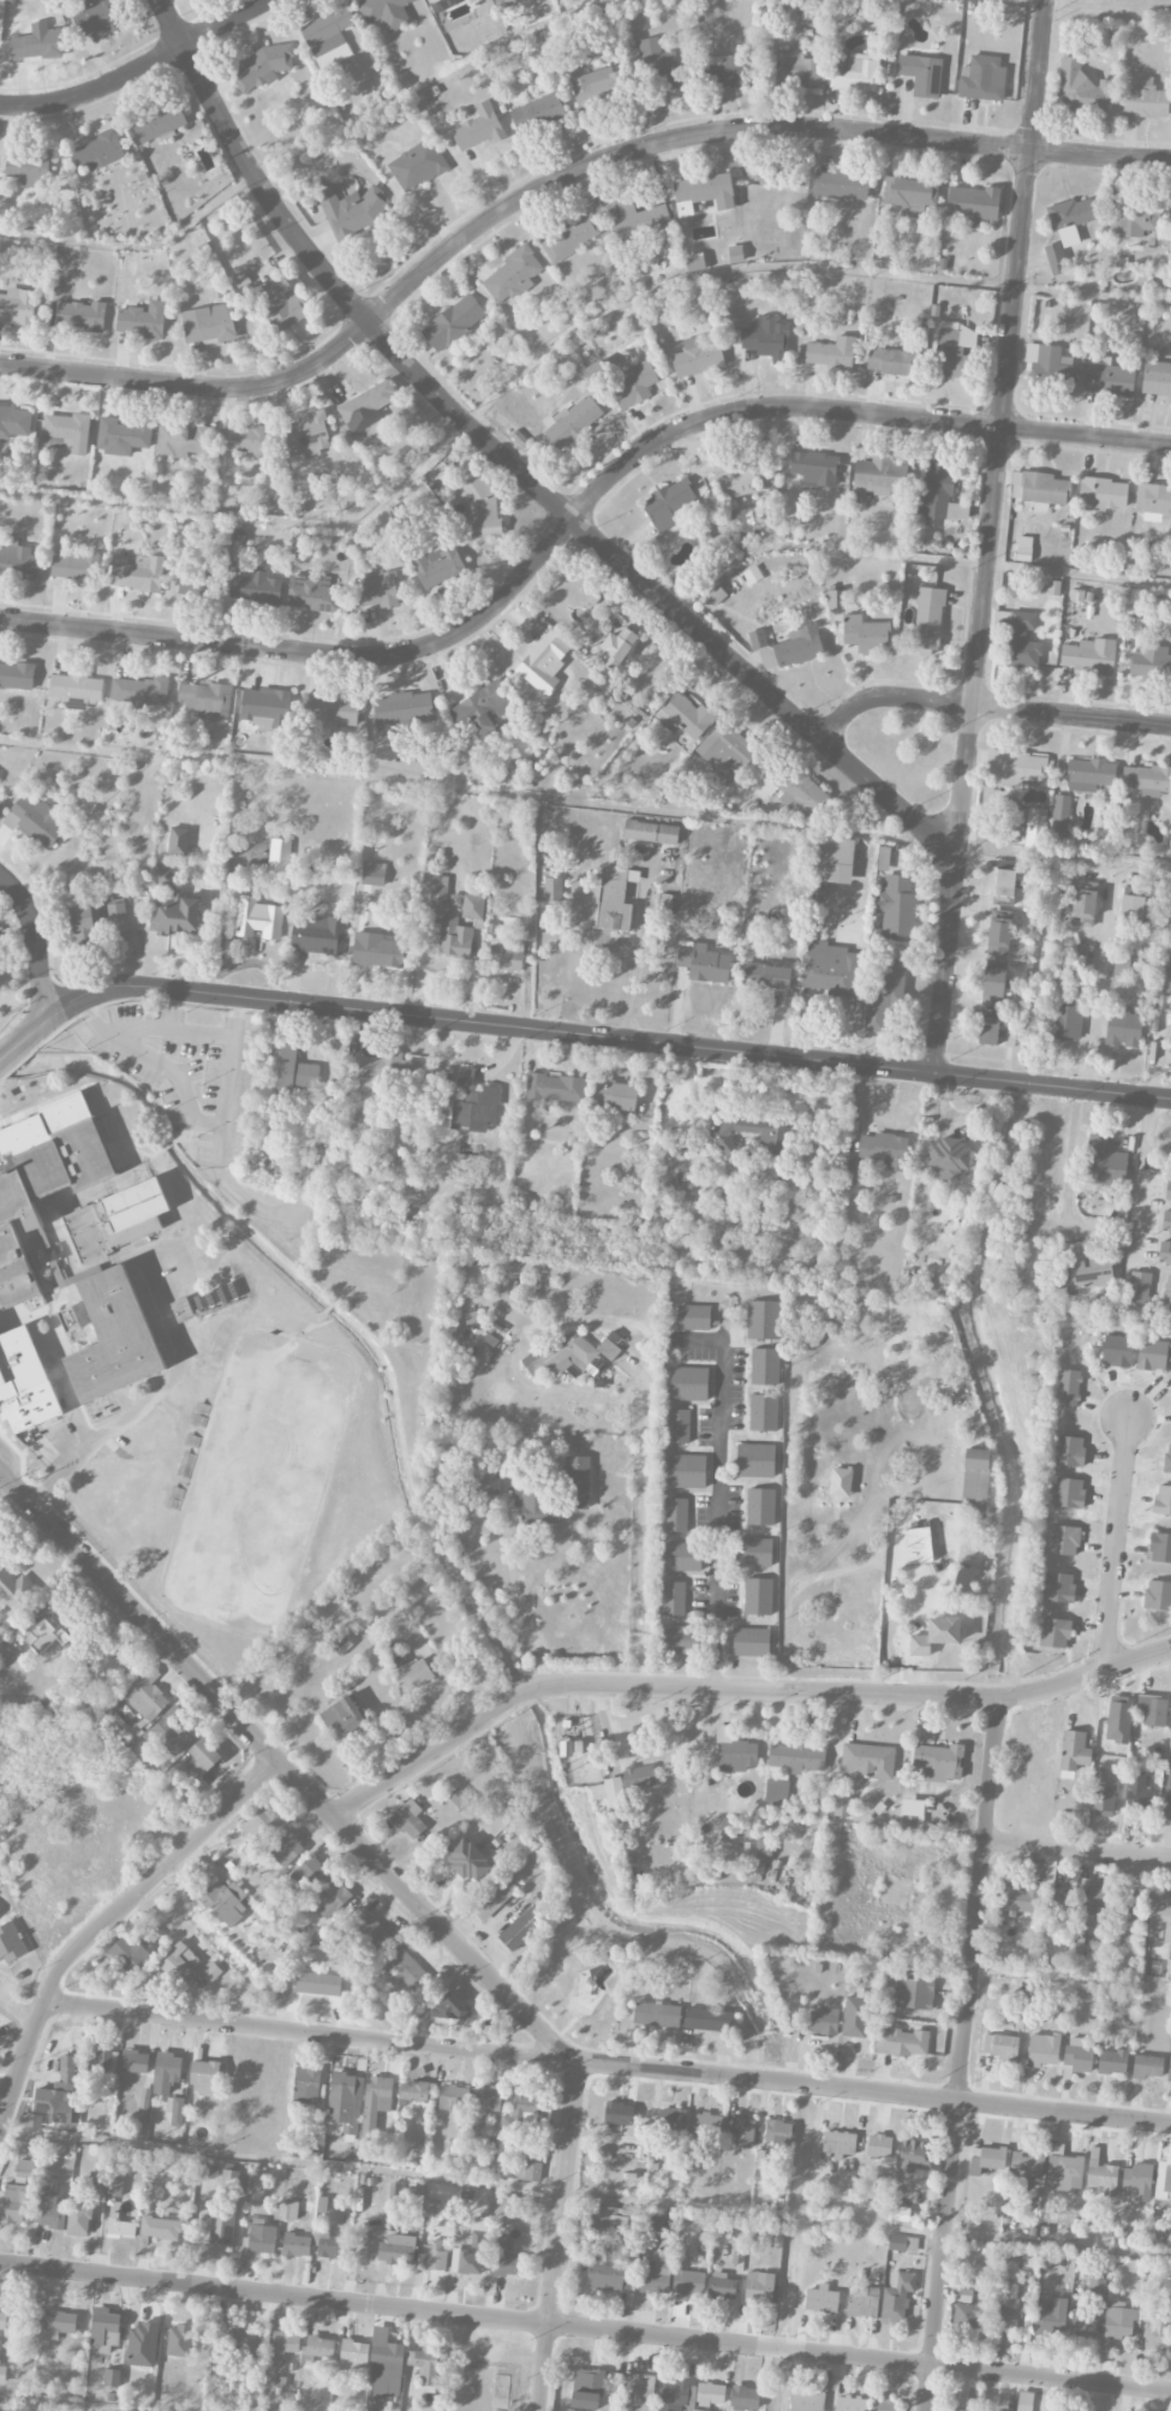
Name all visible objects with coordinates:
road: (1038, 0)
building: (432, 1)
building: (503, 4)
building: (386, 12)
building: (96, 17)
road: (1107, 19)
building: (327, 29)
building: (35, 44)
building: (333, 56)
building: (261, 66)
building: (659, 66)
building: (796, 69)
road: (142, 71)
building: (728, 71)
building: (854, 71)
building: (921, 75)
building: (984, 78)
building: (593, 85)
building: (1080, 88)
building: (1143, 99)
building: (537, 113)
building: (159, 123)
building: (478, 127)
road: (310, 143)
building: (97, 153)
building: (417, 165)
building: (28, 168)
road: (555, 179)
building: (841, 184)
building: (705, 190)
building: (910, 194)
building: (973, 204)
building: (352, 208)
building: (1070, 219)
building: (1133, 219)
building: (638, 220)
building: (570, 236)
building: (735, 254)
building: (1055, 258)
building: (694, 262)
building: (512, 275)
building: (281, 303)
building: (17, 306)
building: (80, 315)
building: (142, 320)
building: (453, 322)
building: (208, 323)
road: (554, 337)
building: (766, 338)
building: (831, 352)
building: (954, 352)
building: (697, 358)
building: (889, 361)
building: (1052, 368)
building: (1109, 377)
building: (1157, 379)
building: (632, 382)
building: (366, 406)
building: (573, 421)
building: (14, 422)
building: (66, 431)
building: (121, 436)
building: (306, 436)
building: (245, 440)
building: (184, 441)
road: (514, 466)
building: (814, 468)
building: (740, 475)
building: (878, 477)
building: (1103, 494)
building: (938, 495)
building: (1153, 501)
building: (669, 505)
building: (482, 510)
road: (575, 513)
road: (991, 536)
road: (912, 556)
building: (18, 560)
building: (73, 566)
building: (437, 566)
building: (137, 573)
building: (198, 585)
building: (255, 588)
building: (378, 589)
building: (312, 594)
building: (715, 595)
building: (836, 599)
building: (928, 618)
building: (1131, 626)
building: (866, 635)
building: (1022, 641)
building: (617, 647)
building: (788, 647)
building: (1088, 656)
building: (544, 662)
building: (1152, 663)
building: (17, 675)
building: (76, 686)
building: (138, 691)
building: (205, 698)
road: (987, 706)
building: (265, 708)
building: (402, 709)
building: (479, 709)
building: (329, 712)
building: (687, 715)
building: (728, 750)
building: (1014, 768)
building: (1089, 774)
building: (1147, 780)
road: (461, 786)
building: (799, 791)
building: (0, 802)
building: (1061, 816)
building: (34, 822)
building: (1035, 828)
building: (650, 832)
building: (178, 841)
road: (1064, 853)
building: (279, 856)
building: (835, 863)
building: (372, 874)
building: (1004, 885)
building: (552, 888)
building: (615, 899)
building: (1083, 905)
building: (473, 906)
building: (896, 907)
building: (173, 909)
building: (1131, 910)
building: (257, 919)
building: (118, 922)
building: (448, 922)
building: (84, 925)
building: (318, 935)
building: (999, 936)
road: (38, 942)
building: (377, 951)
road: (633, 952)
building: (507, 956)
building: (1082, 958)
building: (1122, 962)
building: (703, 963)
building: (829, 969)
building: (1165, 975)
building: (766, 976)
building: (994, 982)
road: (1099, 986)
building: (885, 996)
building: (1164, 1001)
park: (19, 1005)
road: (24, 1006)
building: (1065, 1022)
building: (1122, 1026)
road: (174, 1030)
road: (573, 1032)
building: (994, 1034)
road: (157, 1060)
parking lot: (172, 1066)
building: (383, 1067)
building: (295, 1068)
building: (555, 1088)
building: (615, 1095)
building: (474, 1103)
road: (223, 1127)
building: (770, 1136)
building: (677, 1147)
road: (1070, 1153)
building: (877, 1155)
building: (949, 1159)
building: (1104, 1163)
road: (1142, 1174)
building: (43, 1179)
building: (1167, 1191)
building: (116, 1220)
building: (1166, 1222)
building: (1085, 1267)
building: (1137, 1288)
building: (693, 1317)
building: (68, 1320)
building: (763, 1320)
building: (114, 1338)
building: (608, 1350)
building: (570, 1351)
building: (1116, 1351)
building: (1153, 1355)
building: (765, 1367)
building: (24, 1382)
building: (688, 1383)
building: (1068, 1387)
road: (151, 1398)
building: (764, 1412)
building: (679, 1425)
road: (76, 1442)
building: (1069, 1451)
road: (147, 1454)
building: (1167, 1459)
building: (755, 1460)
building: (686, 1471)
track: (258, 1481)
building: (485, 1481)
building: (578, 1482)
building: (841, 1482)
building: (975, 1487)
park: (258, 1488)
building: (1069, 1493)
building: (1163, 1500)
building: (760, 1506)
building: (537, 1507)
road: (717, 1511)
building: (676, 1514)
building: (1064, 1540)
road: (1116, 1541)
building: (1160, 1547)
building: (753, 1552)
building: (0, 1554)
building: (682, 1556)
building: (1059, 1588)
building: (16, 1589)
building: (1158, 1595)
building: (758, 1596)
building: (673, 1599)
road: (519, 1600)
building: (43, 1632)
building: (1055, 1632)
building: (936, 1636)
building: (680, 1639)
building: (751, 1642)
building: (341, 1644)
building: (414, 1675)
road: (735, 1690)
building: (145, 1695)
building: (1153, 1710)
building: (342, 1718)
building: (1118, 1720)
building: (168, 1732)
building: (922, 1734)
building: (1074, 1750)
building: (734, 1751)
building: (202, 1758)
building: (796, 1758)
building: (867, 1761)
building: (938, 1762)
road: (283, 1767)
building: (640, 1776)
building: (776, 1791)
building: (615, 1793)
building: (1103, 1793)
building: (1140, 1793)
building: (459, 1798)
building: (1167, 1798)
building: (913, 1812)
building: (408, 1818)
building: (262, 1824)
building: (764, 1847)
road: (1077, 1849)
building: (286, 1850)
building: (467, 1861)
building: (307, 1873)
building: (335, 1895)
building: (492, 1898)
building: (1018, 1898)
building: (1061, 1899)
building: (225, 1901)
building: (1095, 1904)
building: (1130, 1906)
building: (1159, 1918)
road: (106, 1922)
building: (368, 1929)
building: (520, 1929)
building: (10, 1942)
building: (129, 1953)
building: (180, 1964)
building: (405, 1968)
building: (210, 1971)
road: (1071, 1978)
building: (317, 1983)
building: (914, 1994)
building: (454, 2006)
road: (18, 2013)
building: (656, 2014)
building: (855, 2017)
building: (709, 2019)
building: (824, 2022)
road: (309, 2035)
building: (901, 2042)
building: (1000, 2046)
building: (1042, 2049)
road: (962, 2053)
building: (1077, 2055)
road: (576, 2059)
building: (135, 2061)
building: (1112, 2061)
building: (102, 2062)
building: (1147, 2066)
building: (1170, 2066)
building: (167, 2072)
building: (204, 2078)
building: (307, 2086)
building: (417, 2091)
road: (874, 2091)
building: (58, 2094)
building: (453, 2097)
building: (376, 2101)
building: (486, 2102)
building: (345, 2105)
building: (175, 2111)
building: (524, 2111)
building: (617, 2113)
building: (671, 2119)
building: (34, 2120)
building: (707, 2124)
building: (741, 2130)
building: (778, 2133)
building: (840, 2144)
building: (879, 2145)
building: (914, 2156)
building: (985, 2159)
building: (1027, 2163)
building: (1063, 2169)
building: (528, 2171)
building: (763, 2177)
building: (1101, 2178)
building: (1164, 2178)
building: (229, 2180)
building: (1139, 2180)
building: (98, 2186)
building: (114, 2187)
road: (585, 2192)
building: (14, 2203)
building: (393, 2207)
building: (430, 2207)
building: (49, 2216)
building: (653, 2220)
building: (78, 2221)
building: (608, 2221)
building: (120, 2227)
building: (221, 2227)
building: (161, 2228)
building: (478, 2232)
road: (560, 2236)
building: (1169, 2236)
building: (259, 2237)
building: (328, 2244)
building: (903, 2244)
building: (295, 2245)
building: (395, 2250)
building: (431, 2257)
building: (506, 2260)
building: (465, 2262)
building: (607, 2272)
building: (656, 2275)
building: (688, 2284)
building: (721, 2286)
building: (759, 2287)
building: (964, 2288)
building: (897, 2296)
building: (822, 2299)
building: (864, 2302)
building: (1008, 2314)
building: (970, 2316)
building: (1047, 2317)
building: (2, 2320)
building: (1083, 2322)
building: (1119, 2323)
building: (56, 2324)
road: (585, 2328)
building: (104, 2329)
building: (1157, 2334)
building: (179, 2340)
building: (243, 2342)
building: (283, 2344)
building: (143, 2345)
building: (318, 2347)
road: (203, 2350)
building: (354, 2352)
building: (384, 2367)
building: (2, 2375)
building: (112, 2377)
building: (677, 2387)
building: (586, 2388)
building: (640, 2389)
building: (711, 2394)
building: (745, 2398)
building: (807, 2401)
building: (1024, 2401)
road: (60, 2403)
building: (850, 2404)
building: (884, 2405)
building: (371, 2409)
building: (695, 2410)

